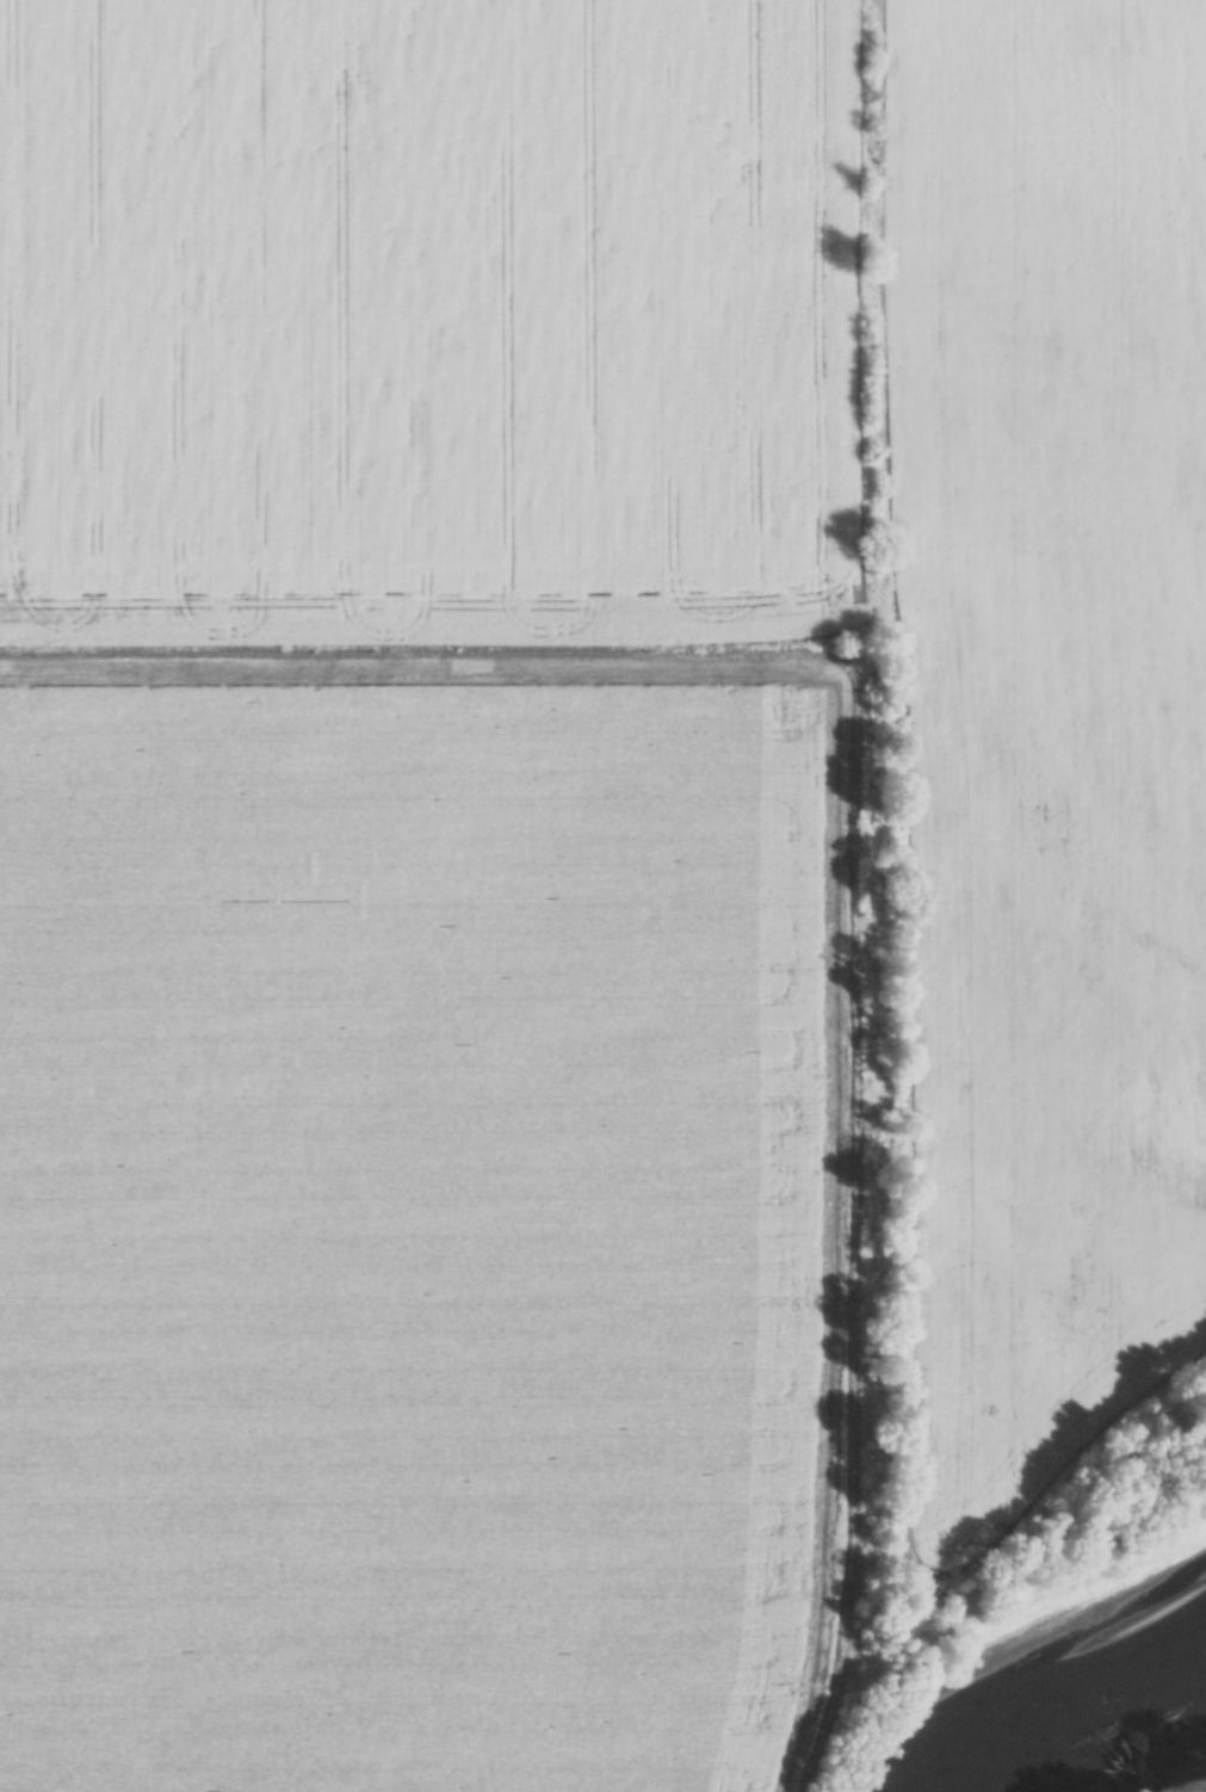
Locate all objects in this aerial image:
river: (1058, 1687)

